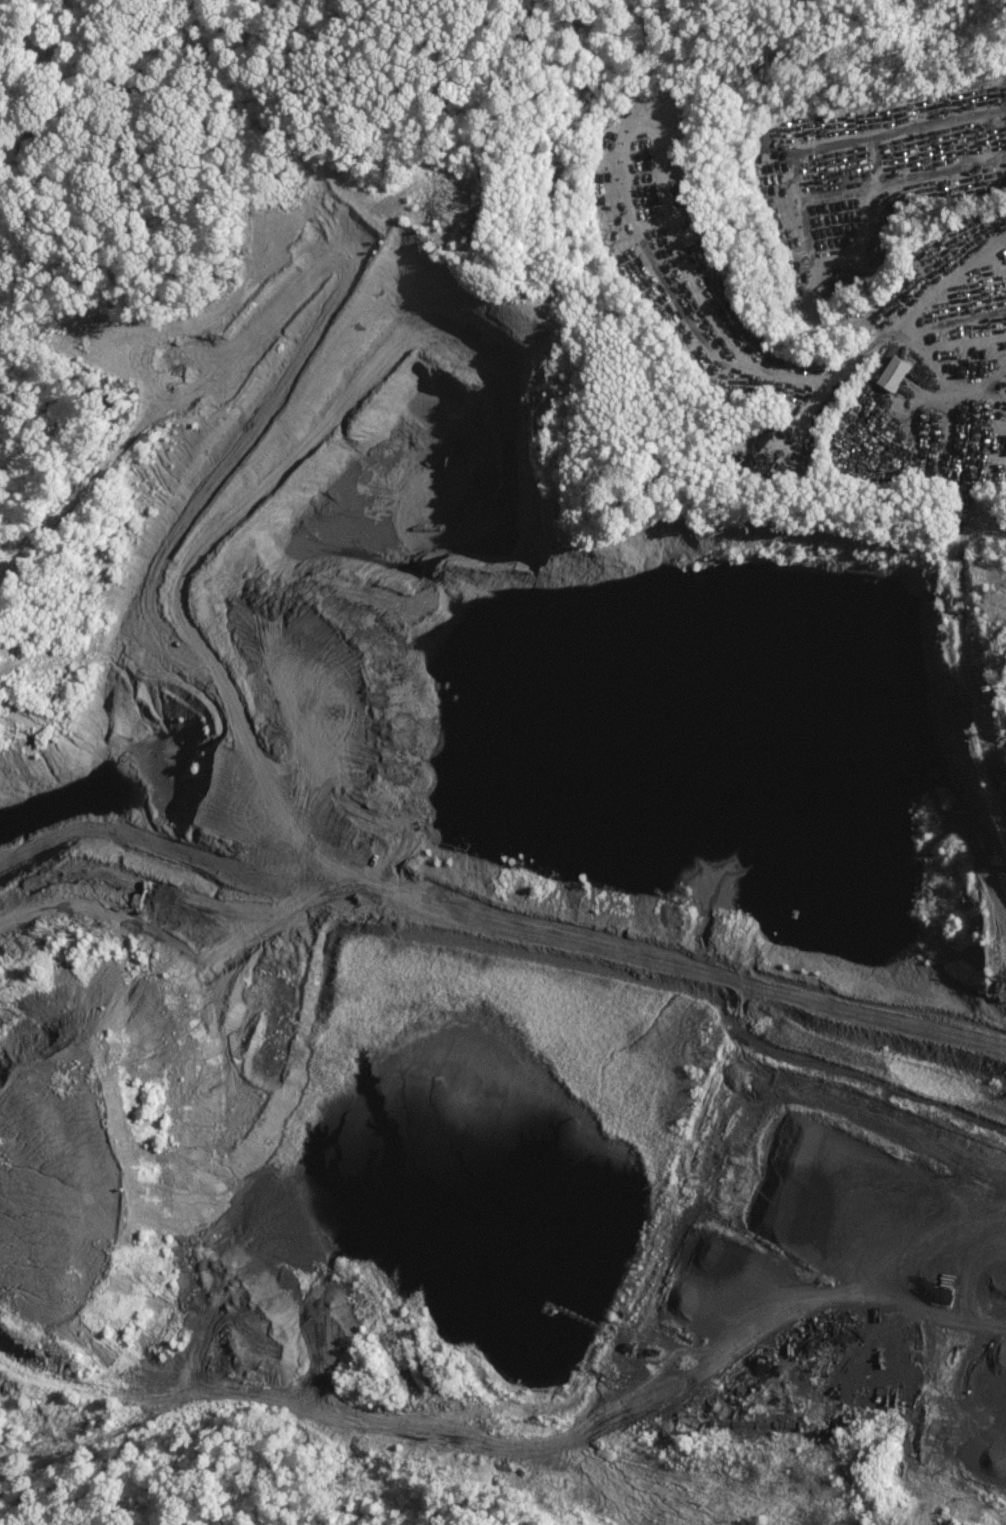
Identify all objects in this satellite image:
road: (629, 168)
road: (800, 170)
building: (887, 373)
road: (842, 374)
road: (983, 456)
road: (962, 501)
road: (232, 1100)

